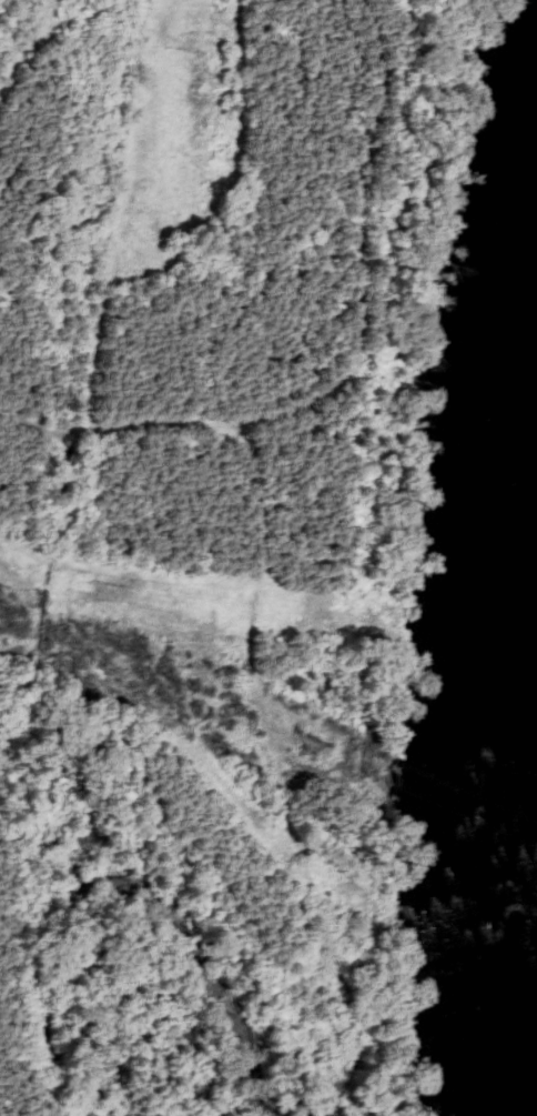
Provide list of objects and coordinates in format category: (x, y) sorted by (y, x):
power tower: (310, 747)

